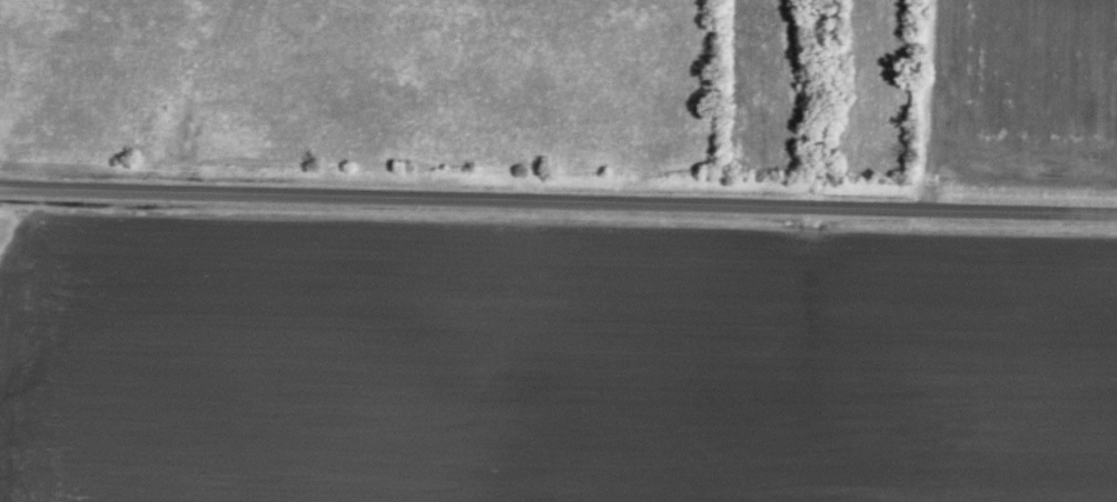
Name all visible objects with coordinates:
road: (557, 199)

